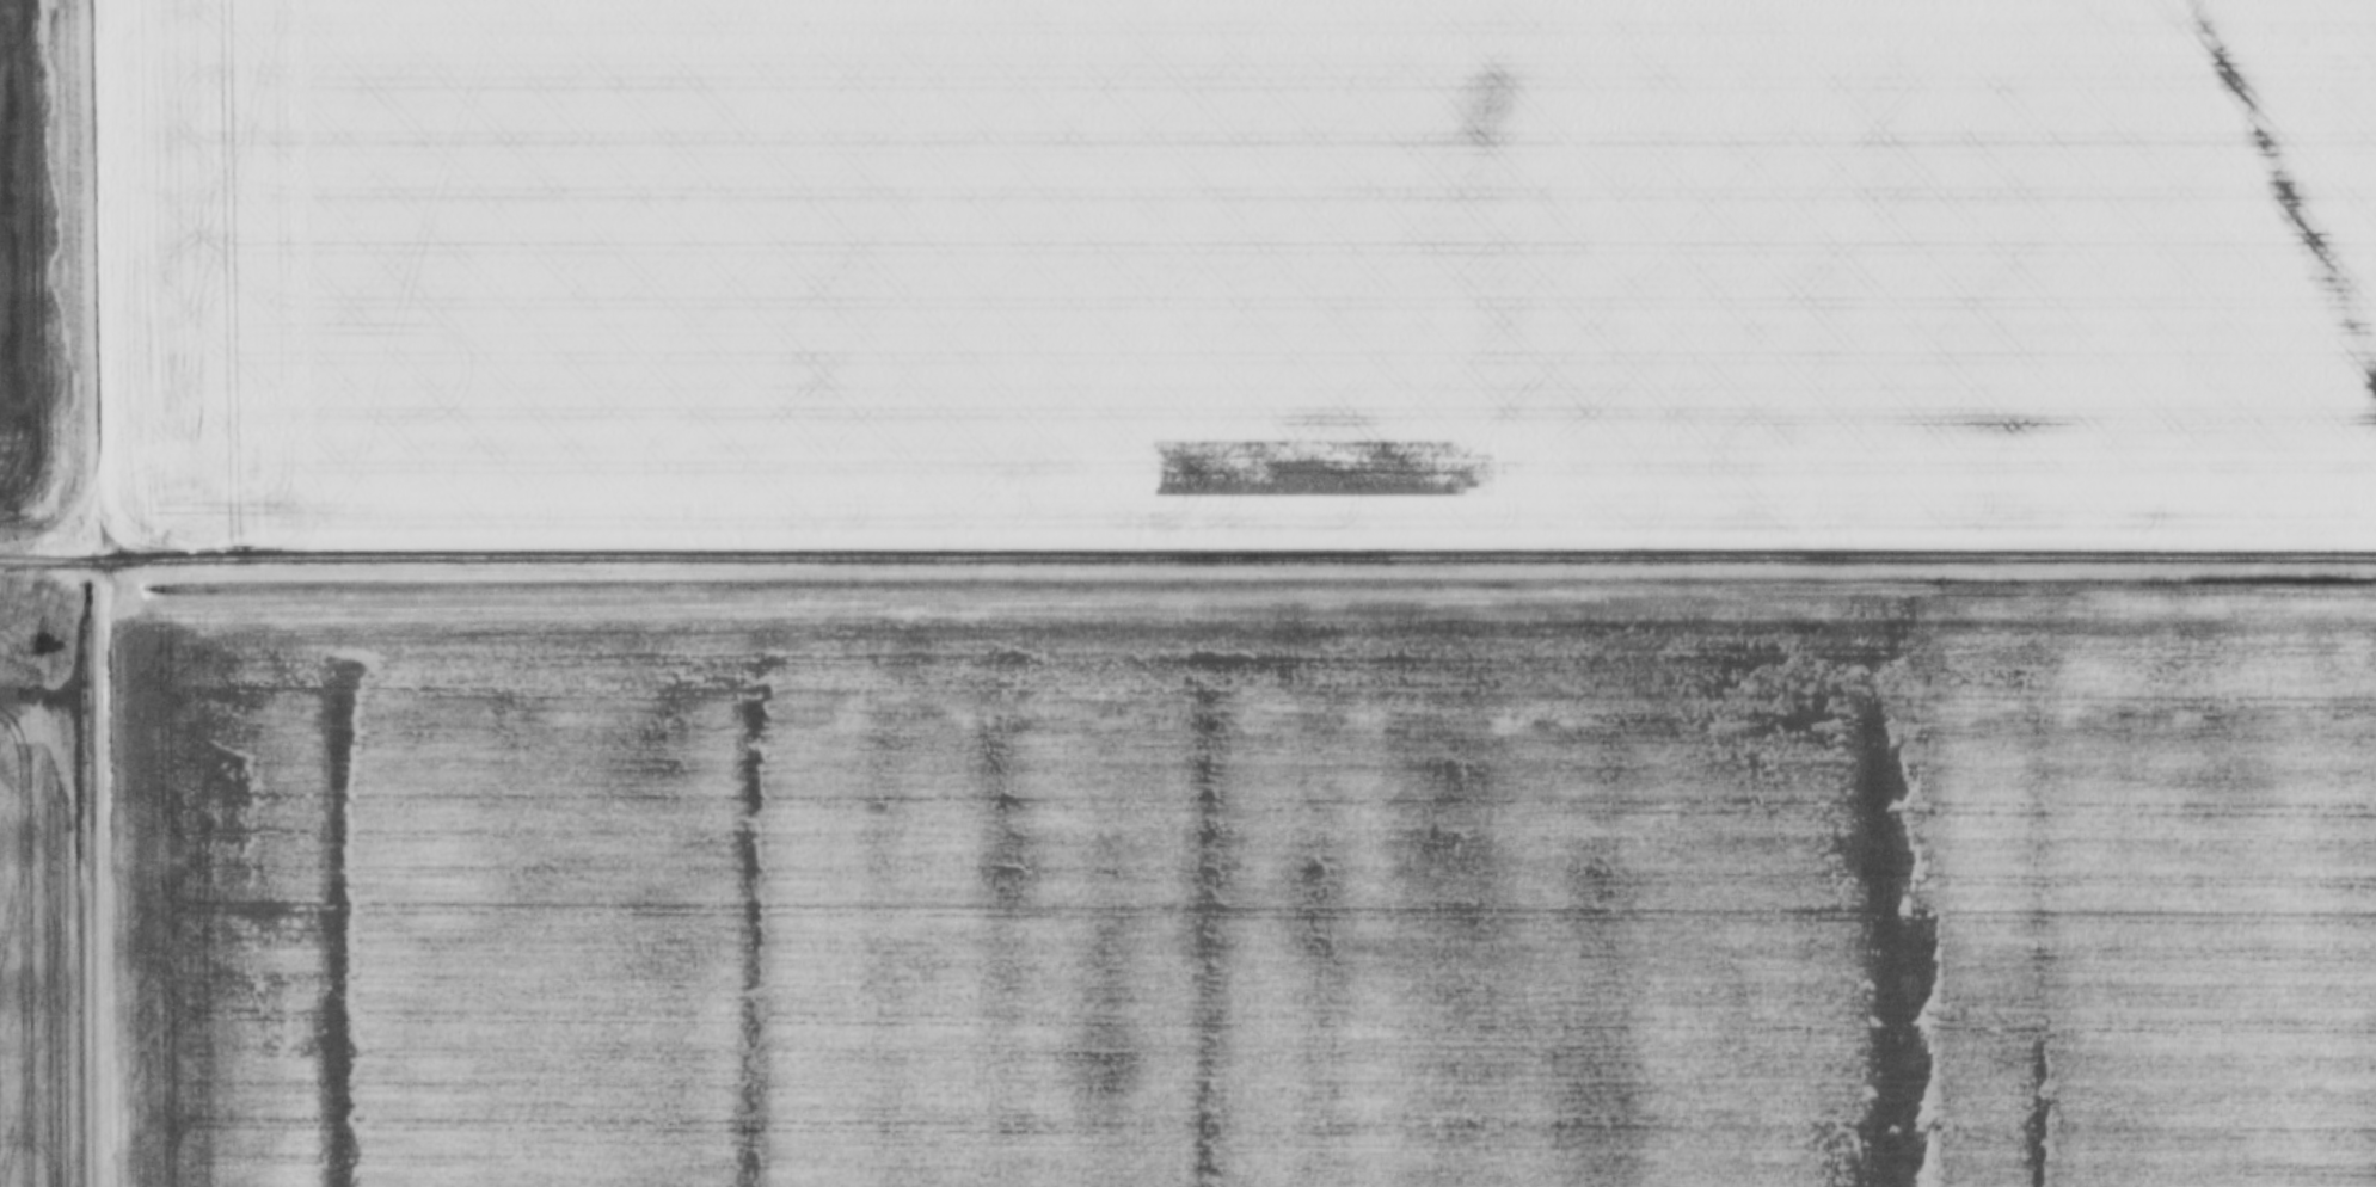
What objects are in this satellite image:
crop: (1241, 272)
road: (1187, 564)
crop: (45, 887)
crop: (1245, 887)

